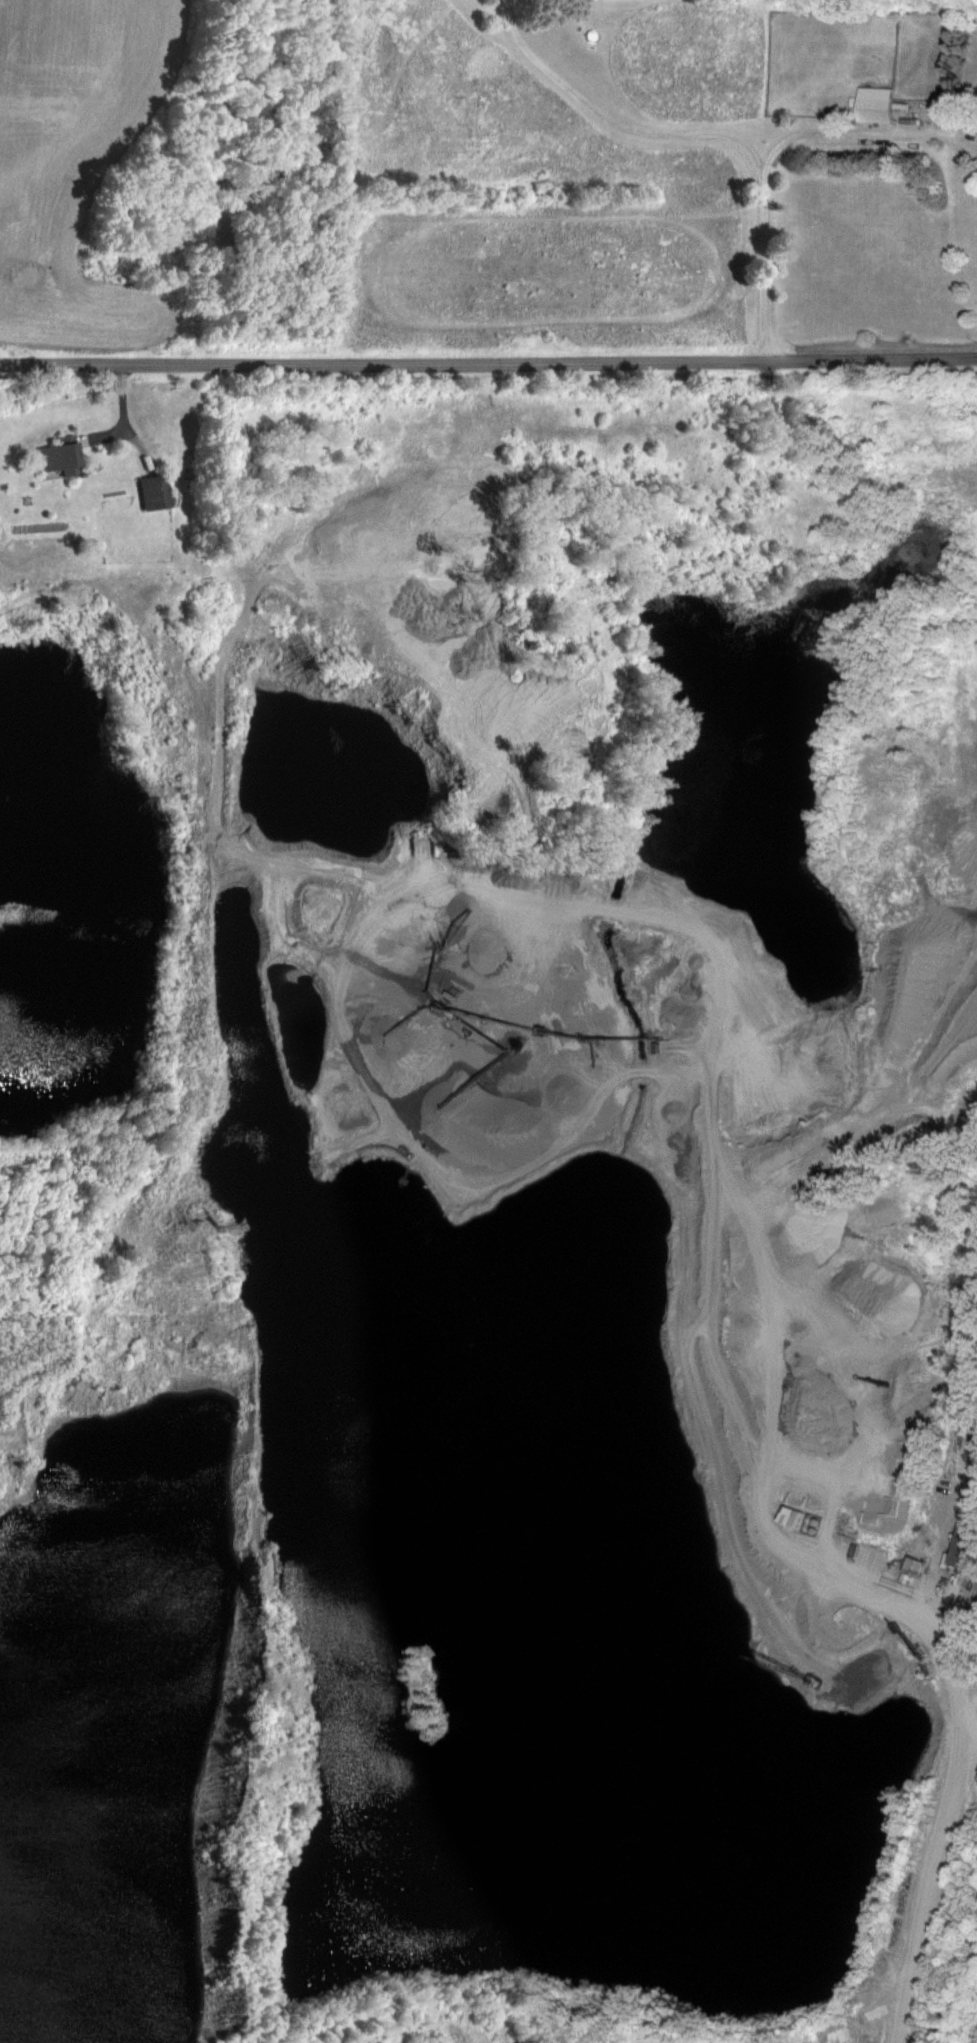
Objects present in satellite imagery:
building: (878, 104)
road: (619, 122)
road: (777, 153)
road: (488, 363)
road: (128, 397)
building: (58, 455)
building: (153, 490)
quarry: (588, 1438)
building: (794, 1516)
building: (966, 1547)
building: (916, 1565)
road: (946, 1842)

